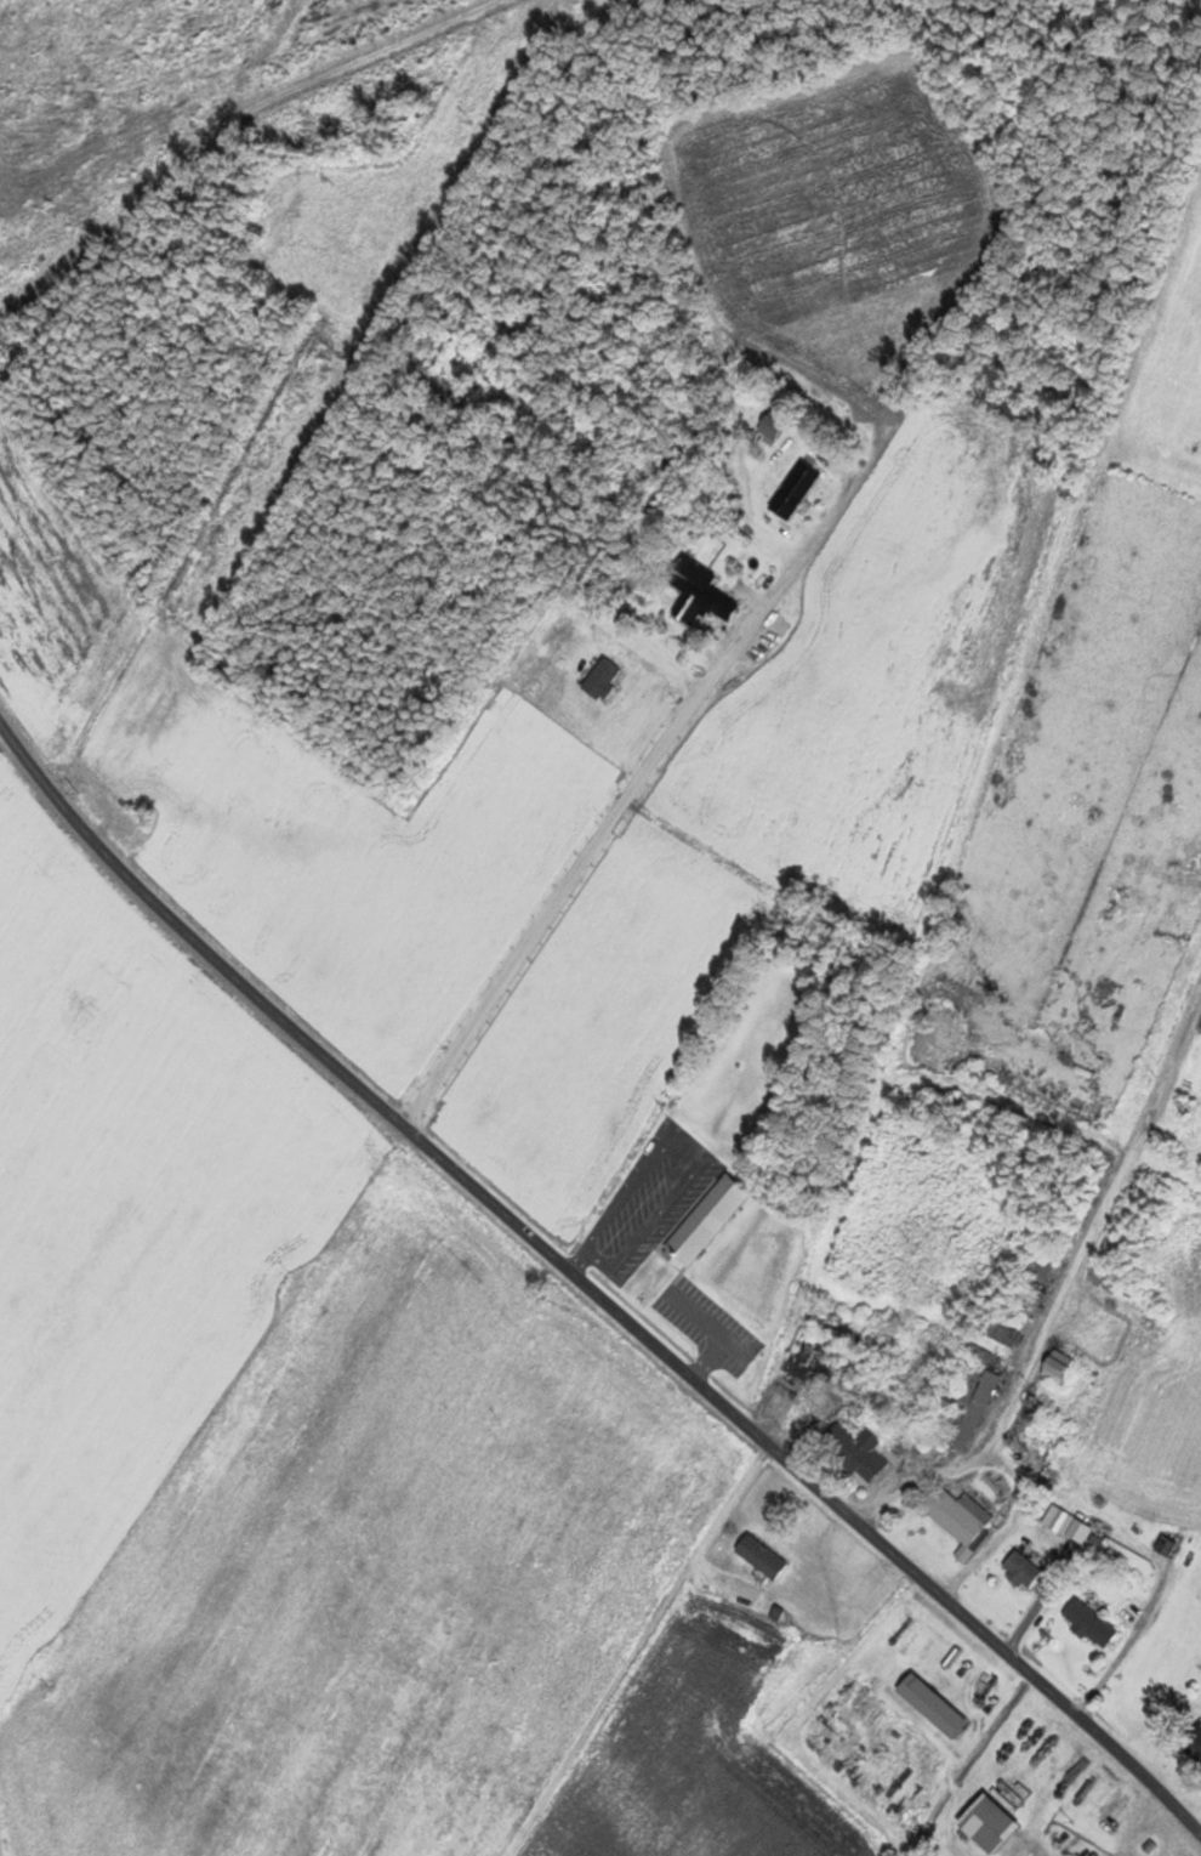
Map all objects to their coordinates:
road: (233, 110)
building: (769, 424)
building: (792, 489)
building: (696, 591)
road: (625, 795)
building: (757, 1061)
building: (958, 1100)
road: (638, 1152)
building: (702, 1221)
road: (591, 1283)
road: (1053, 1288)
building: (1019, 1301)
building: (1054, 1364)
building: (962, 1408)
building: (926, 1452)
building: (860, 1453)
building: (956, 1515)
building: (758, 1557)
building: (1017, 1570)
building: (1086, 1623)
road: (631, 1642)
road: (848, 1685)
building: (929, 1705)
building: (1194, 1741)
road: (971, 1755)
building: (985, 1823)

